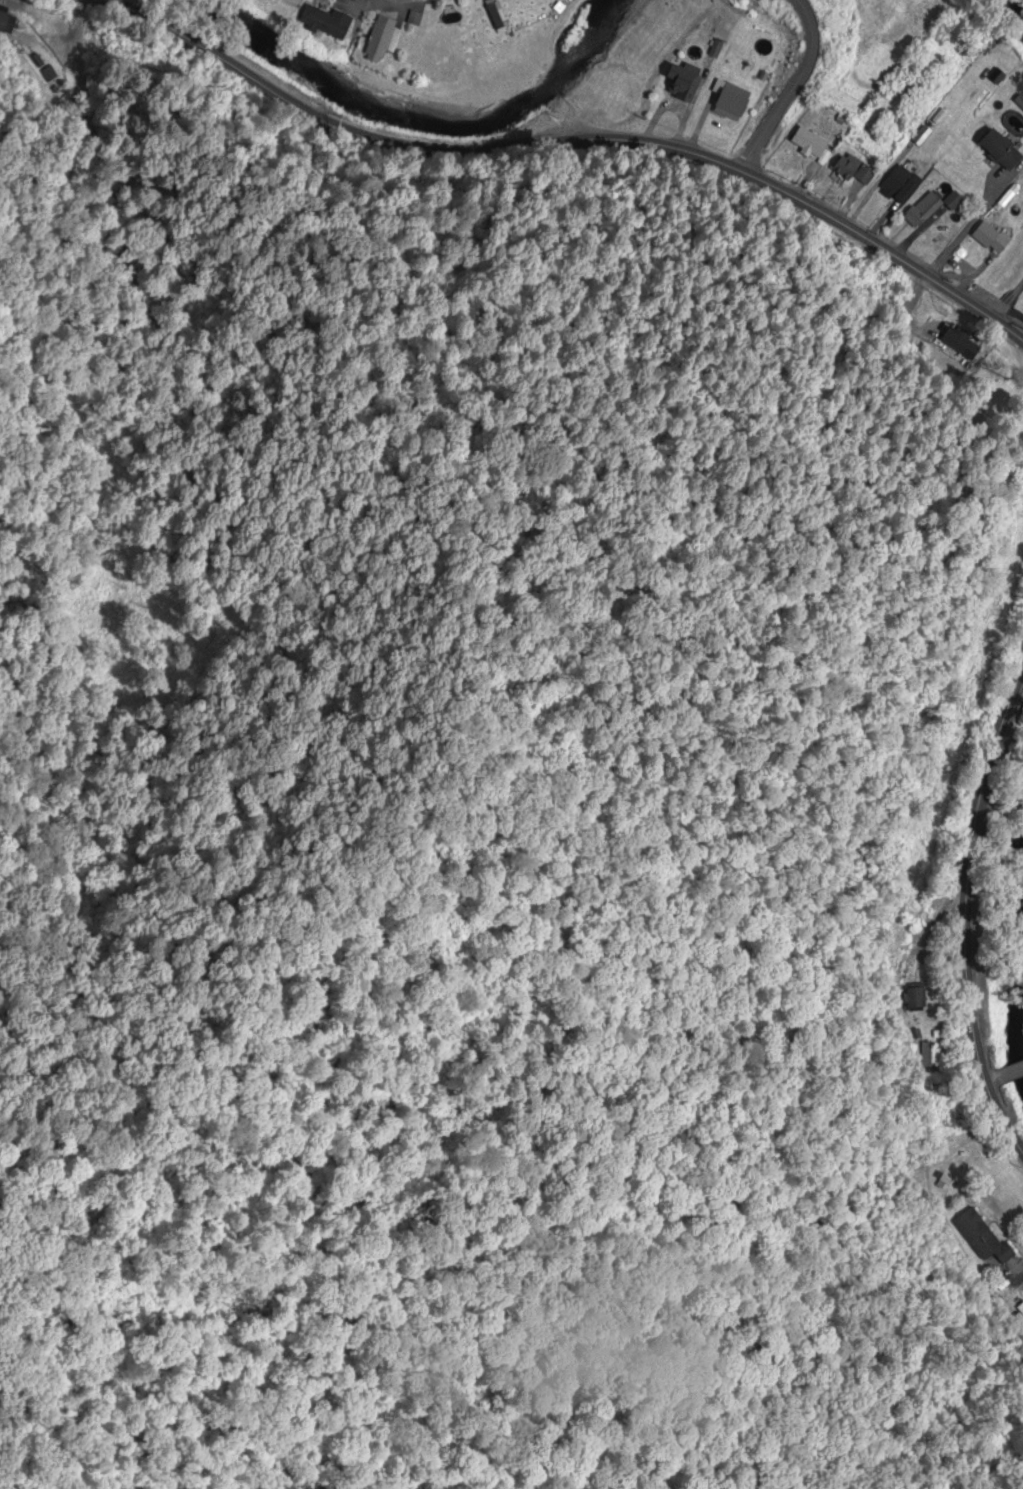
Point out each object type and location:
river: (1014, 12)
building: (494, 17)
road: (359, 22)
building: (326, 23)
building: (6, 25)
building: (382, 40)
road: (338, 73)
building: (682, 83)
road: (793, 90)
building: (731, 101)
river: (409, 111)
road: (320, 112)
building: (809, 143)
road: (564, 144)
building: (1001, 151)
building: (853, 170)
building: (897, 187)
building: (953, 202)
building: (923, 209)
building: (990, 238)
road: (992, 304)
building: (963, 344)
road: (964, 911)
river: (1018, 997)
building: (917, 999)
building: (929, 1055)
road: (1007, 1068)
road: (986, 1076)
building: (981, 1238)

